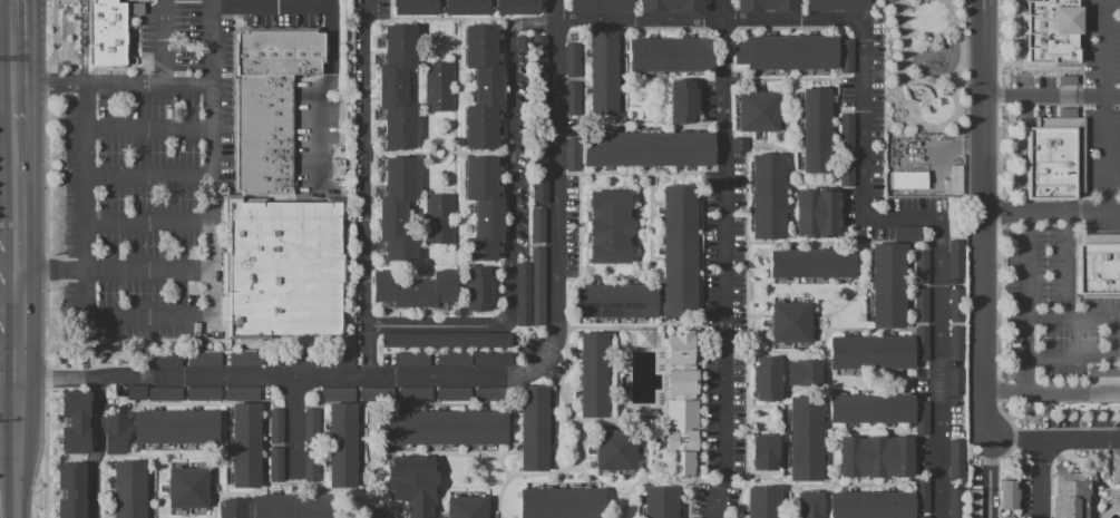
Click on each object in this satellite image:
road: (1111, 1)
building: (600, 4)
building: (835, 4)
road: (270, 6)
building: (670, 6)
building: (767, 6)
building: (413, 7)
building: (465, 7)
building: (516, 7)
road: (555, 10)
road: (637, 28)
building: (1050, 31)
building: (105, 32)
building: (519, 41)
road: (82, 42)
road: (164, 42)
road: (1001, 42)
road: (1079, 43)
road: (555, 45)
building: (786, 51)
building: (670, 55)
building: (845, 57)
building: (572, 60)
road: (16, 61)
road: (8, 63)
park: (925, 66)
road: (1038, 67)
building: (538, 68)
building: (603, 72)
road: (895, 74)
road: (717, 78)
road: (779, 78)
road: (114, 85)
building: (438, 86)
building: (481, 86)
building: (396, 87)
road: (318, 94)
road: (997, 94)
road: (1052, 95)
road: (1079, 96)
building: (573, 98)
building: (682, 100)
building: (267, 104)
road: (1103, 104)
parking lot: (1084, 109)
building: (757, 111)
road: (642, 119)
road: (934, 125)
road: (1038, 126)
road: (149, 129)
building: (815, 129)
building: (846, 130)
building: (539, 138)
road: (750, 138)
road: (766, 138)
building: (739, 144)
building: (647, 148)
road: (785, 149)
road: (997, 150)
road: (1078, 153)
building: (573, 154)
building: (1054, 157)
road: (838, 159)
road: (581, 163)
parking lot: (172, 167)
road: (16, 168)
building: (846, 168)
road: (629, 173)
road: (148, 176)
building: (908, 179)
building: (954, 179)
road: (46, 180)
road: (810, 184)
building: (539, 189)
building: (767, 196)
road: (1053, 207)
building: (397, 208)
building: (483, 208)
road: (1079, 208)
building: (817, 212)
road: (997, 212)
road: (791, 213)
building: (438, 218)
road: (985, 218)
road: (148, 222)
building: (537, 225)
building: (608, 226)
building: (907, 233)
road: (841, 242)
road: (652, 248)
building: (679, 251)
road: (702, 256)
road: (719, 258)
building: (955, 258)
road: (1068, 262)
building: (811, 263)
building: (1097, 264)
building: (283, 265)
building: (921, 266)
road: (50, 271)
road: (148, 271)
road: (8, 272)
road: (603, 277)
building: (537, 285)
building: (887, 285)
building: (412, 289)
building: (477, 289)
building: (522, 294)
parking lot: (1053, 300)
building: (613, 301)
road: (1025, 301)
building: (921, 304)
building: (956, 304)
road: (830, 314)
road: (191, 316)
building: (789, 322)
road: (440, 324)
road: (627, 324)
road: (884, 329)
road: (8, 331)
road: (747, 332)
road: (1111, 336)
building: (643, 338)
road: (762, 338)
building: (446, 340)
parking lot: (723, 340)
building: (955, 342)
road: (16, 343)
building: (921, 343)
road: (785, 351)
road: (363, 352)
building: (870, 352)
building: (204, 359)
building: (246, 359)
building: (411, 359)
building: (454, 359)
building: (491, 359)
building: (163, 360)
building: (312, 361)
building: (802, 372)
road: (785, 373)
building: (593, 374)
building: (1104, 374)
road: (45, 378)
building: (766, 378)
building: (955, 380)
road: (914, 383)
road: (56, 387)
road: (569, 388)
building: (135, 392)
building: (164, 393)
building: (203, 393)
building: (241, 393)
building: (452, 393)
road: (563, 393)
building: (338, 394)
building: (376, 394)
building: (413, 394)
building: (491, 394)
road: (1052, 394)
road: (785, 395)
road: (826, 397)
road: (573, 399)
road: (753, 400)
building: (681, 401)
road: (232, 402)
road: (767, 402)
road: (438, 407)
building: (870, 408)
road: (641, 416)
building: (922, 418)
building: (75, 421)
building: (275, 426)
road: (292, 426)
building: (310, 426)
road: (825, 426)
building: (175, 427)
building: (440, 428)
building: (533, 428)
road: (873, 429)
road: (509, 432)
building: (114, 433)
road: (321, 436)
building: (805, 438)
road: (1017, 438)
road: (1081, 439)
road: (8, 443)
building: (341, 444)
building: (245, 446)
building: (615, 450)
road: (827, 450)
building: (763, 451)
road: (132, 453)
road: (465, 453)
road: (46, 455)
building: (875, 456)
road: (66, 457)
road: (94, 458)
road: (105, 458)
building: (955, 458)
building: (275, 465)
building: (310, 465)
building: (1111, 466)
road: (572, 468)
road: (324, 469)
road: (373, 472)
road: (988, 477)
road: (1041, 478)
road: (162, 480)
road: (213, 480)
road: (646, 480)
road: (857, 480)
road: (720, 482)
road: (785, 482)
building: (412, 483)
road: (438, 485)
road: (867, 485)
building: (187, 488)
road: (829, 488)
building: (128, 489)
road: (347, 489)
building: (70, 490)
road: (227, 491)
road: (218, 493)
road: (14, 495)
road: (163, 495)
building: (922, 495)
building: (1006, 495)
road: (212, 496)
building: (1068, 496)
building: (660, 501)
building: (561, 502)
building: (762, 502)
building: (955, 502)
road: (402, 504)
road: (825, 504)
building: (973, 504)
building: (808, 505)
building: (870, 505)
building: (293, 506)
road: (215, 507)
building: (466, 507)
building: (232, 508)
building: (376, 516)
building: (922, 516)
building: (695, 517)
building: (729, 517)
building: (1005, 517)

